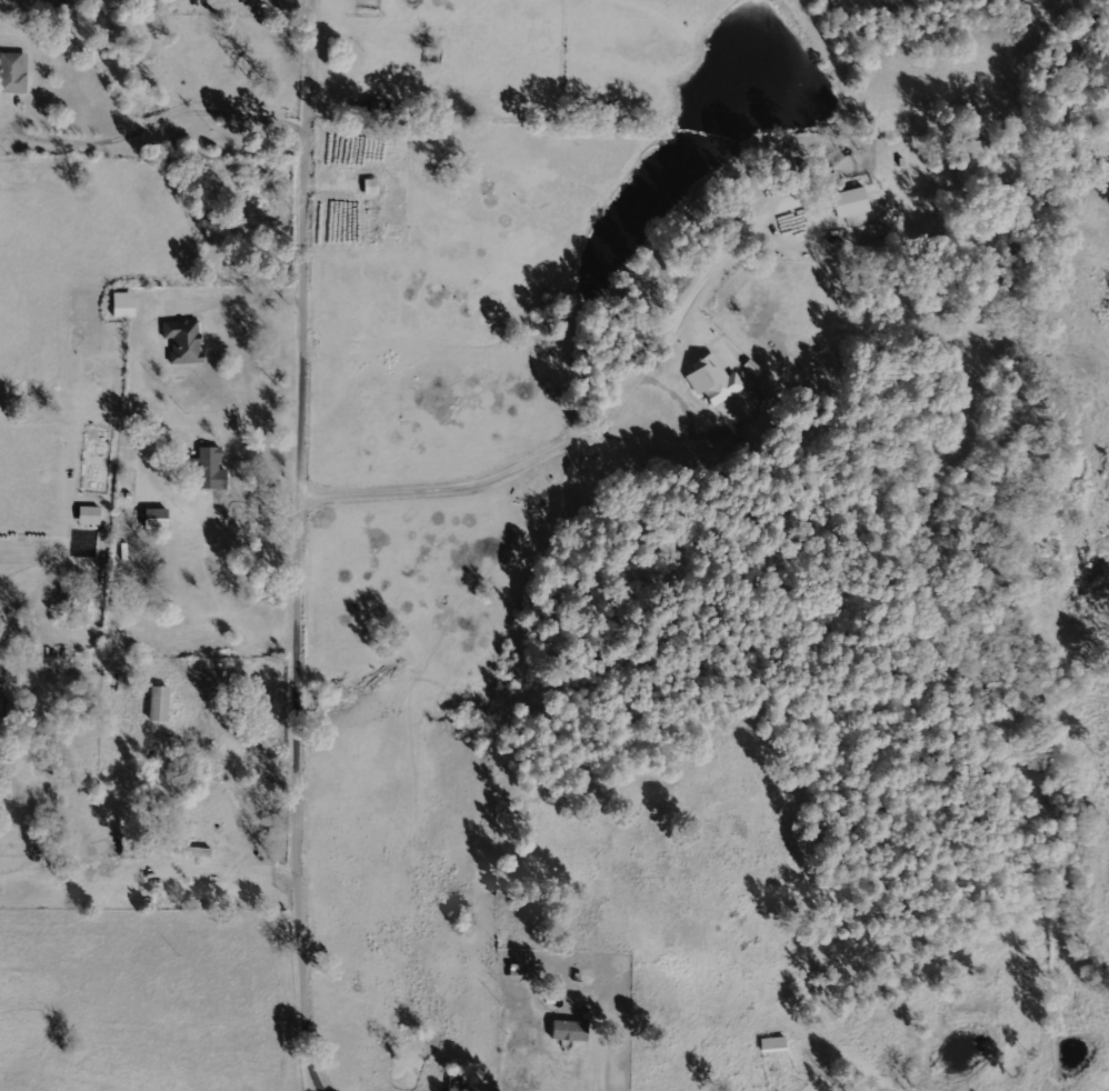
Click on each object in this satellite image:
building: (13, 72)
road: (154, 122)
building: (851, 202)
building: (123, 304)
building: (182, 341)
building: (712, 380)
road: (154, 382)
road: (601, 404)
building: (210, 469)
building: (156, 519)
road: (306, 545)
road: (213, 697)
building: (570, 1031)
building: (772, 1044)

